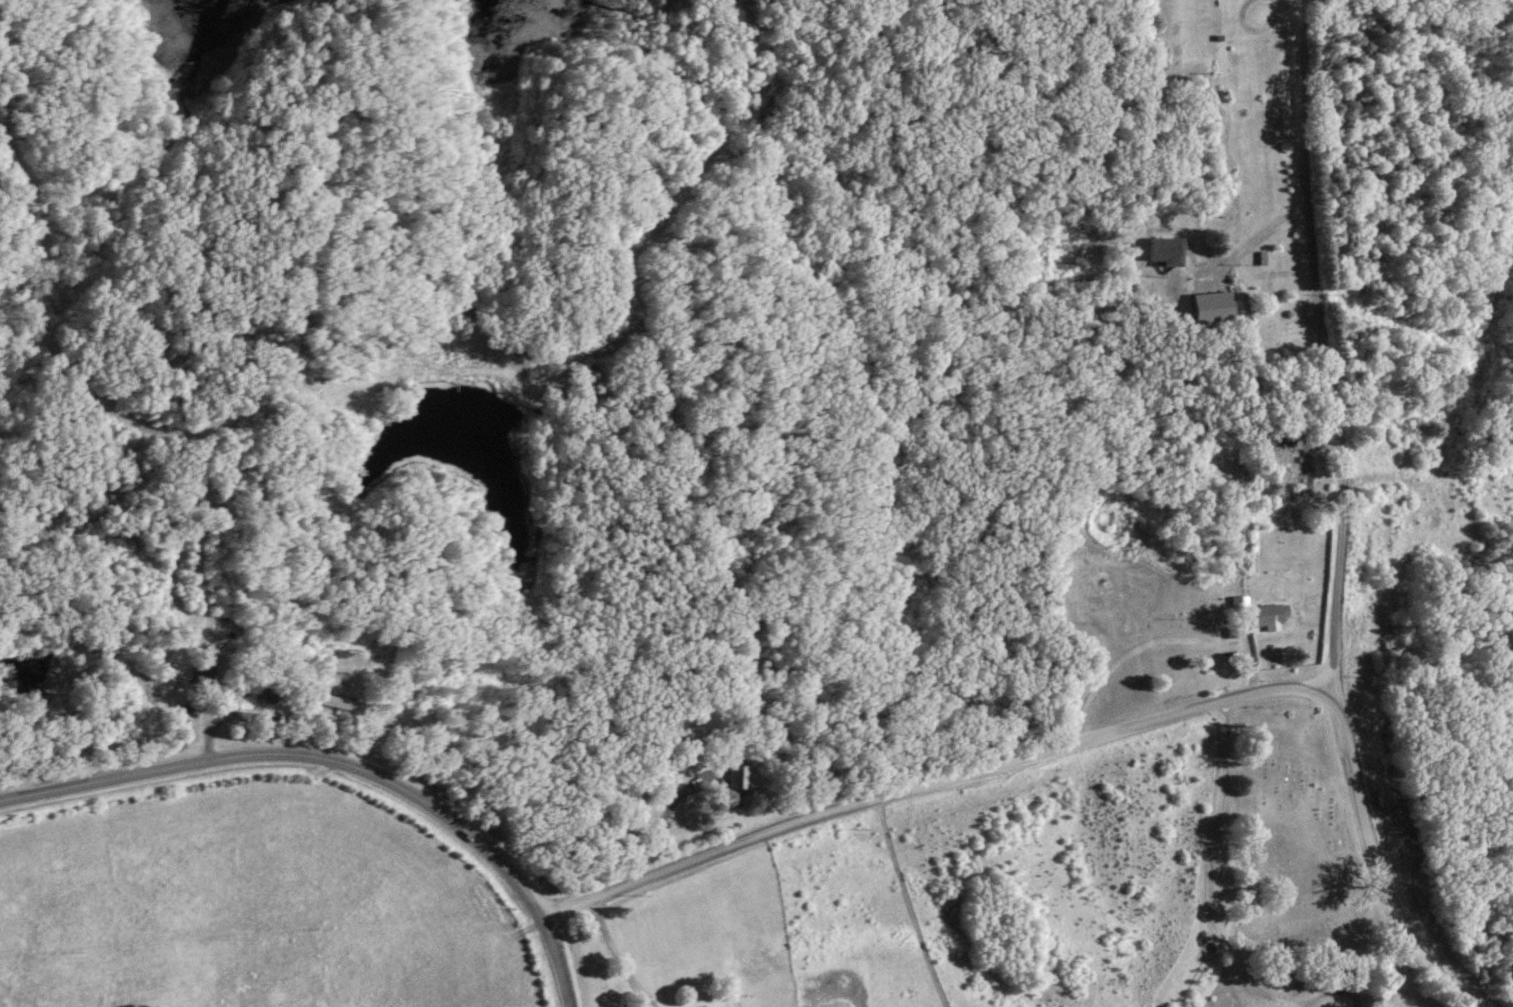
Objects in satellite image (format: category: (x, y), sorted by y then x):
road: (1289, 21)
road: (1246, 238)
building: (1164, 251)
building: (1211, 308)
road: (1323, 352)
building: (1304, 477)
building: (1267, 615)
road: (1161, 641)
building: (336, 703)
road: (1099, 736)
road: (343, 767)
building: (737, 778)
park: (1292, 833)
road: (1210, 872)
road: (616, 954)
building: (701, 1006)

